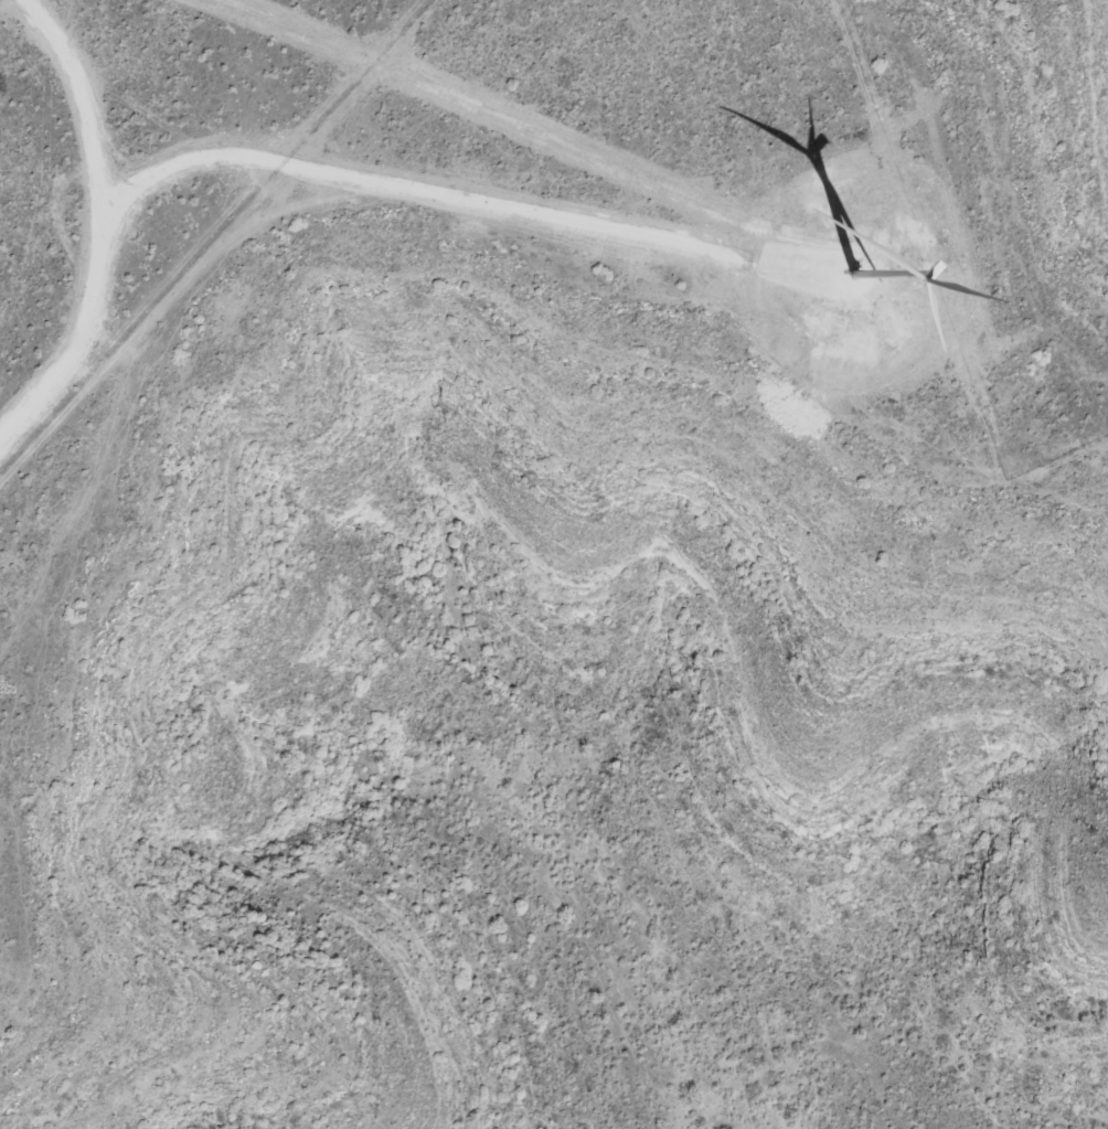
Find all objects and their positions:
wind turbine: (850, 266)

